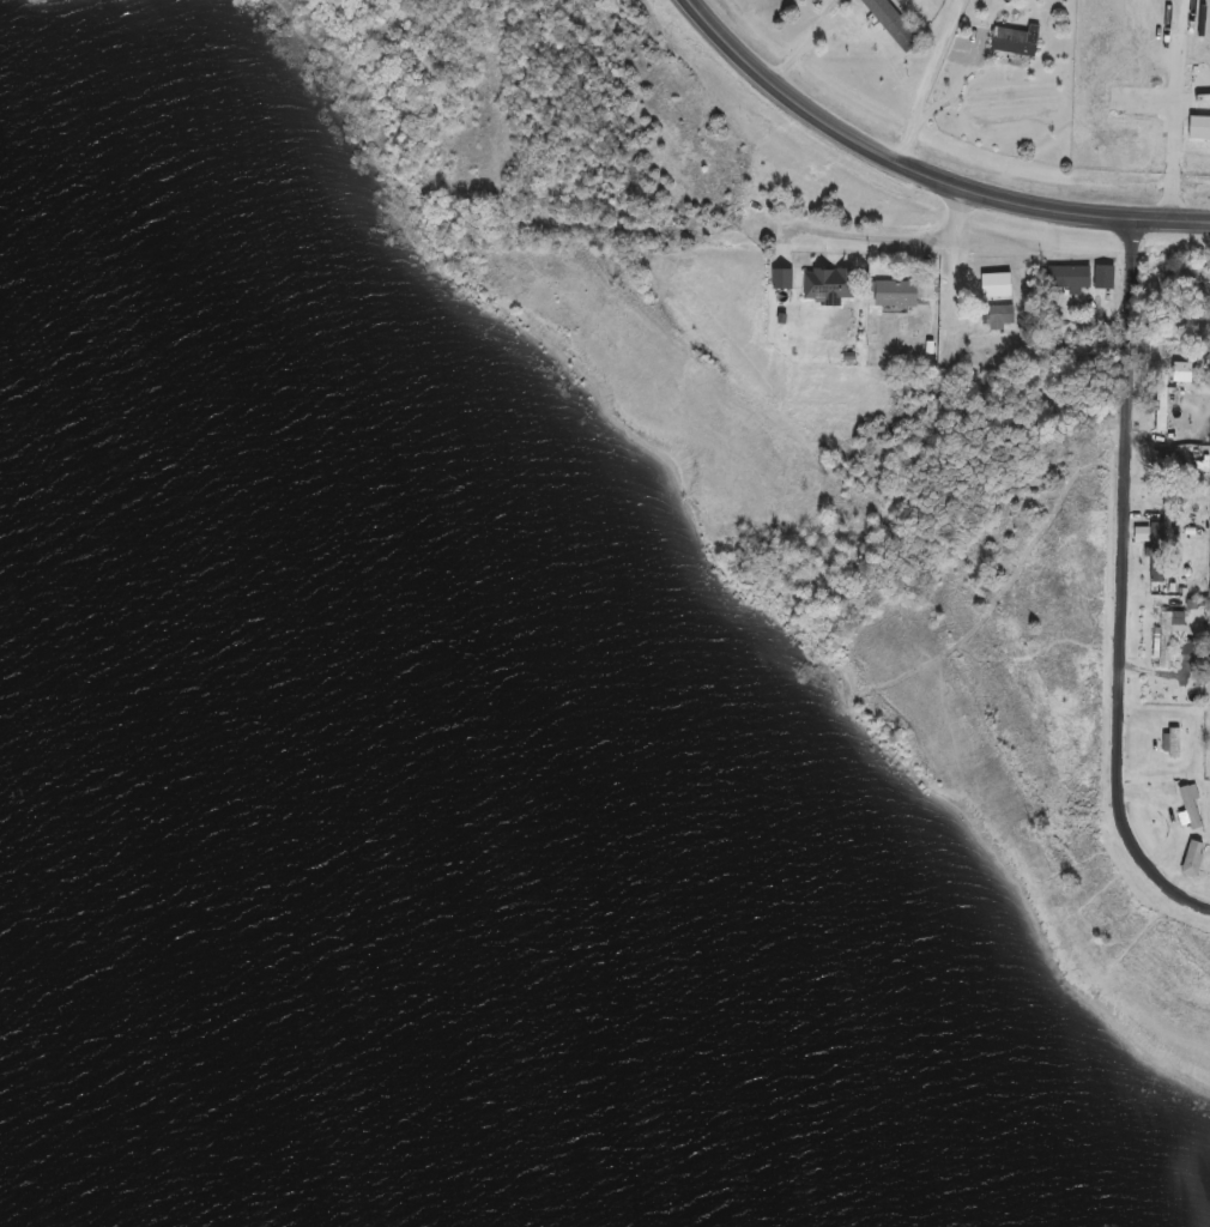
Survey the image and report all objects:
building: (893, 23)
building: (1015, 42)
road: (924, 81)
building: (1199, 128)
road: (1174, 132)
road: (921, 174)
road: (889, 241)
building: (1070, 277)
building: (1105, 277)
building: (997, 285)
building: (896, 294)
building: (1000, 316)
building: (1162, 401)
building: (1169, 463)
building: (1163, 562)
road: (1120, 584)
building: (1163, 641)
building: (1172, 742)
building: (1191, 806)
building: (1174, 820)
building: (1194, 857)

